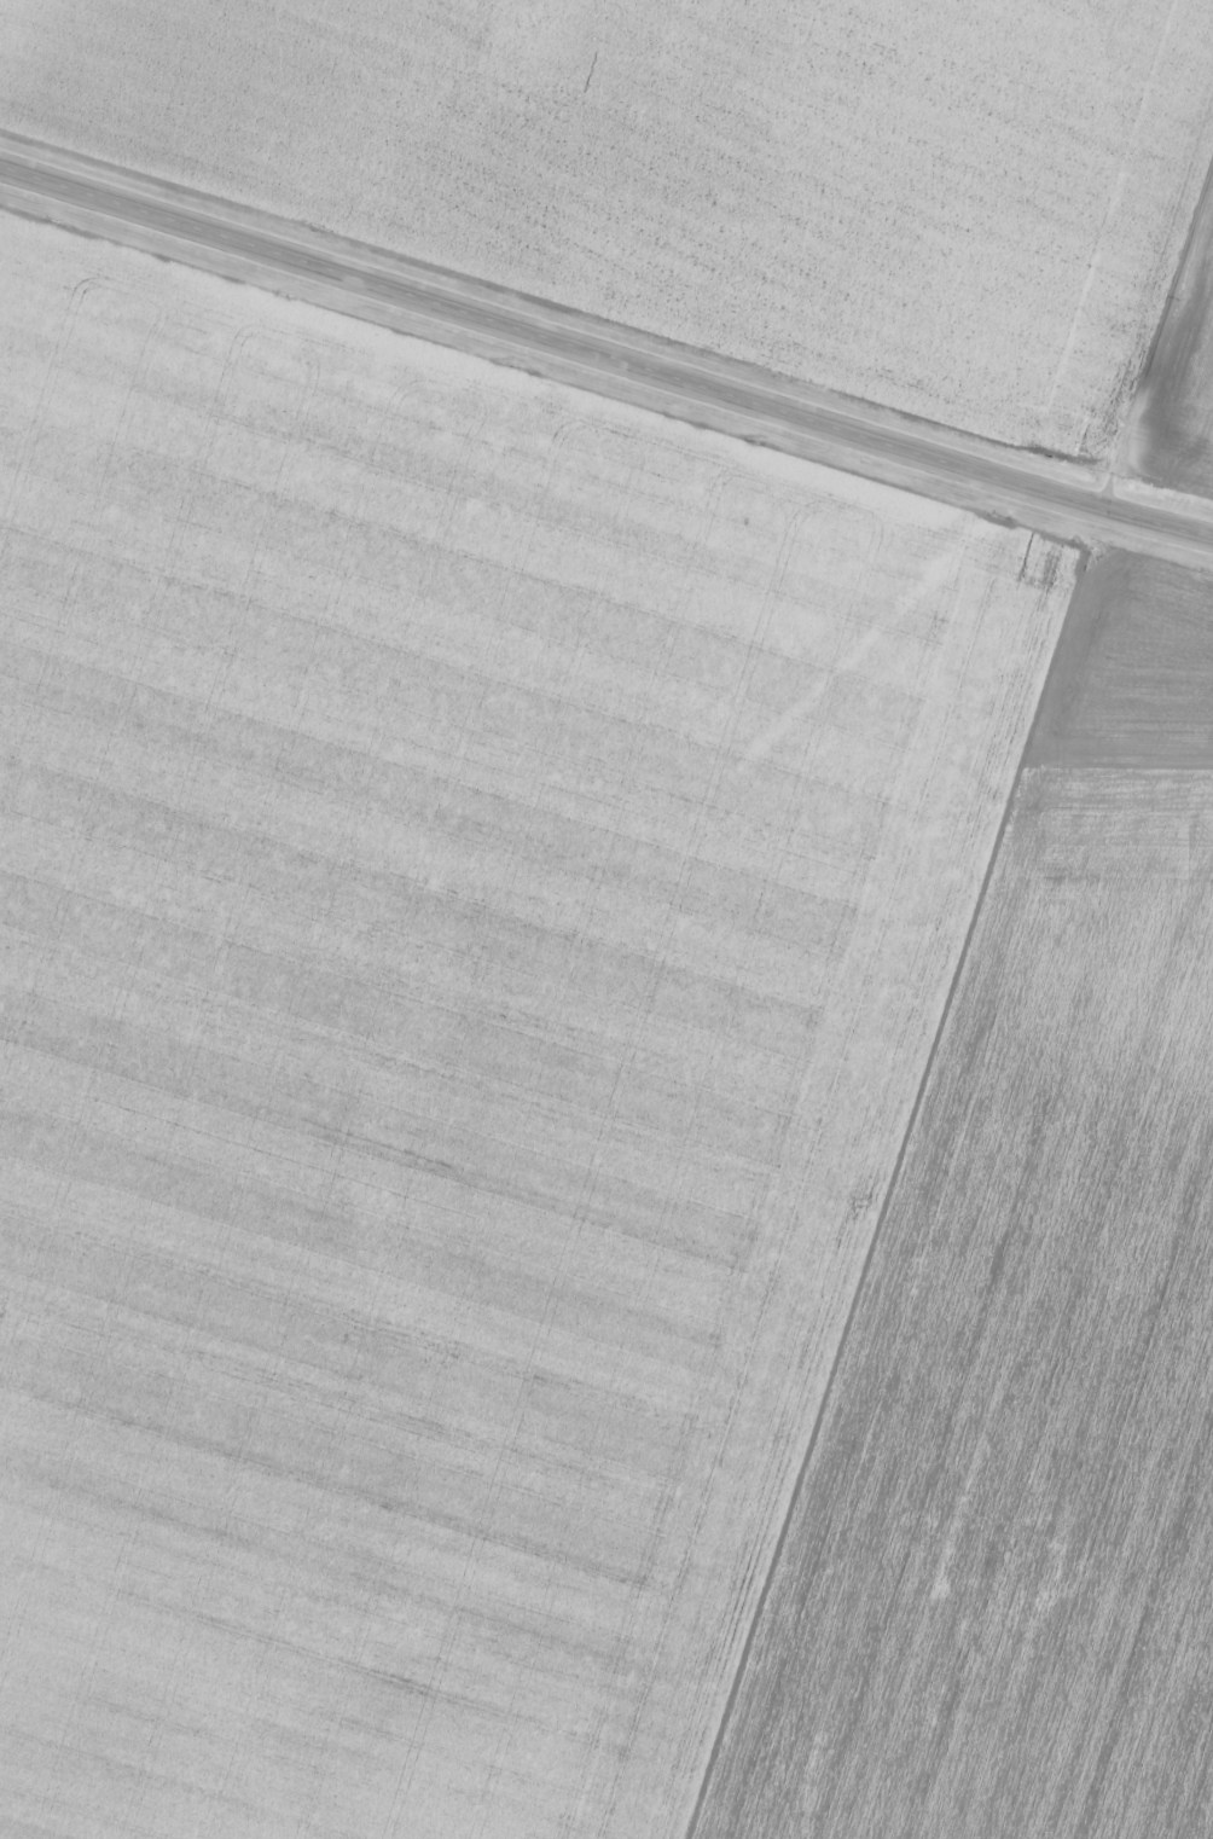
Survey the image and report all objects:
road: (606, 349)
road: (951, 1015)

